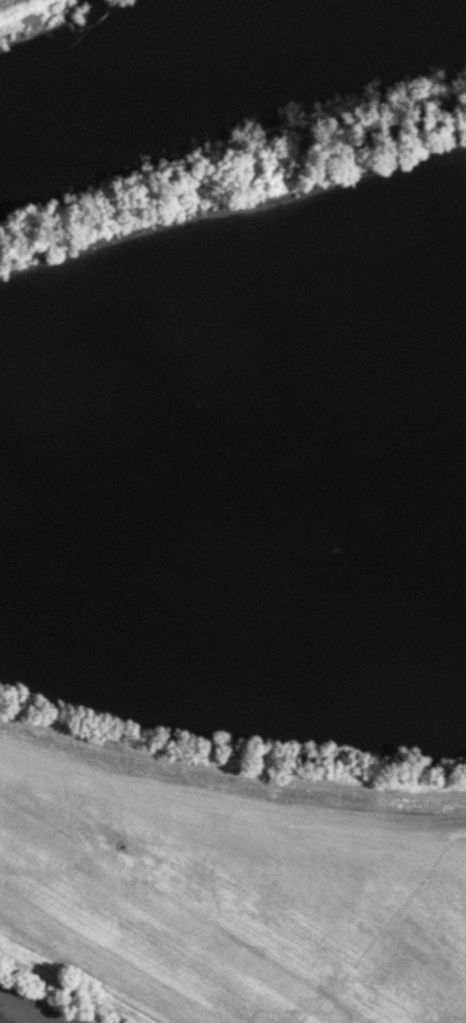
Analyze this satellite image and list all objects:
road: (106, 962)

